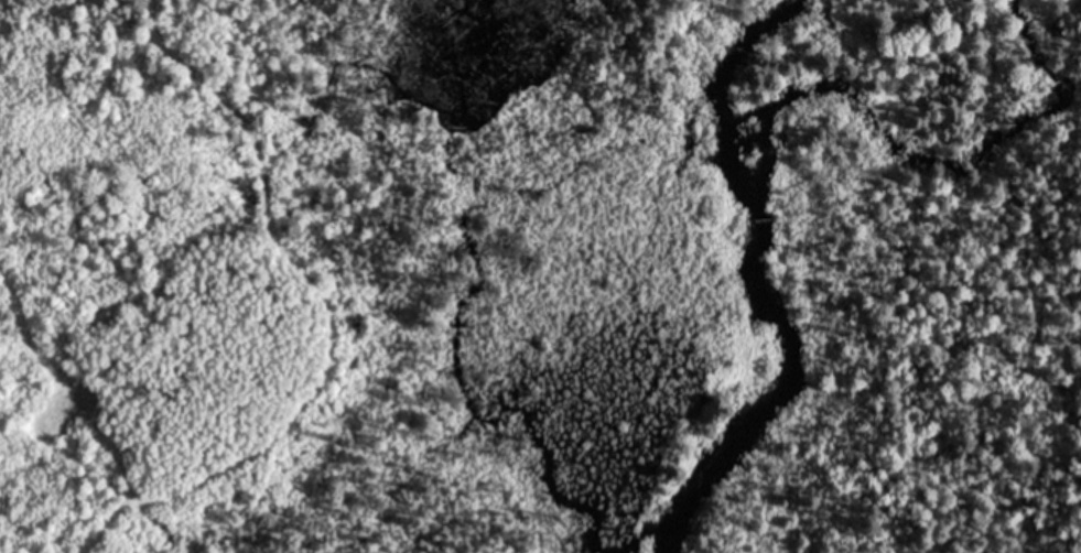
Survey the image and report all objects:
river: (749, 272)

